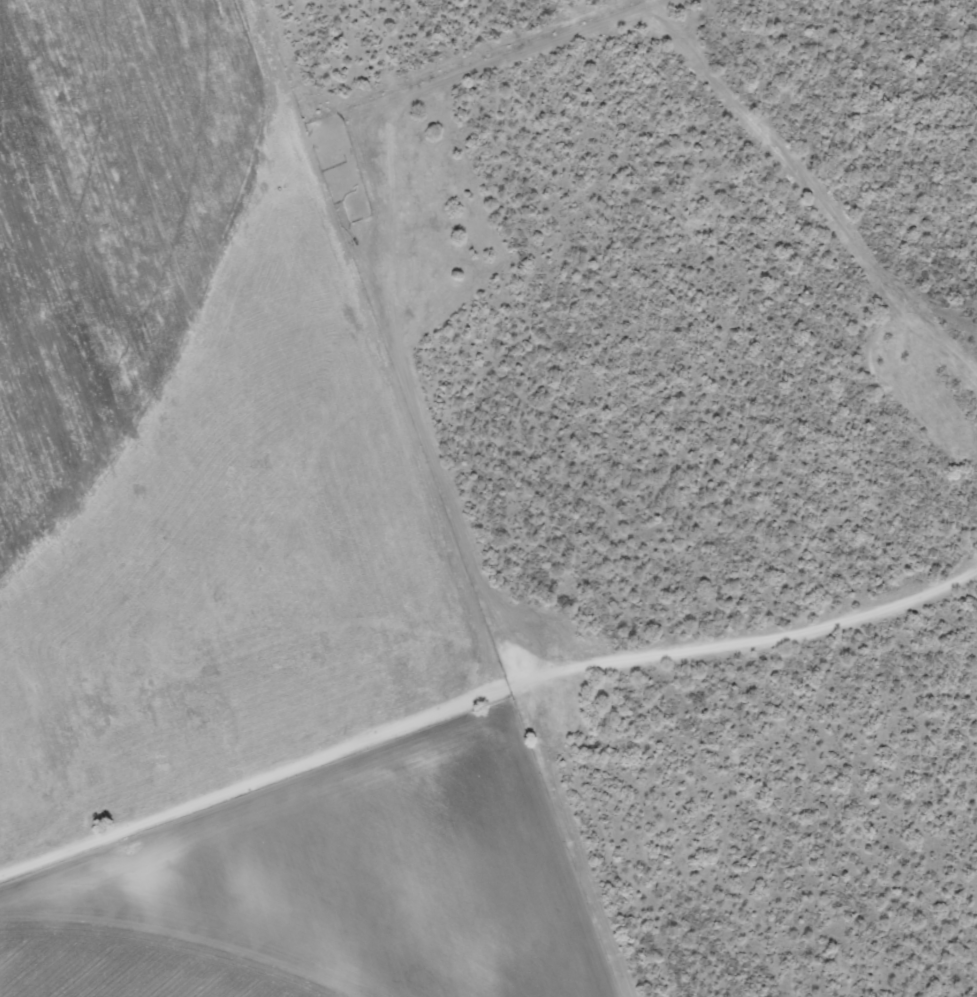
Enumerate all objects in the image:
road: (807, 190)

